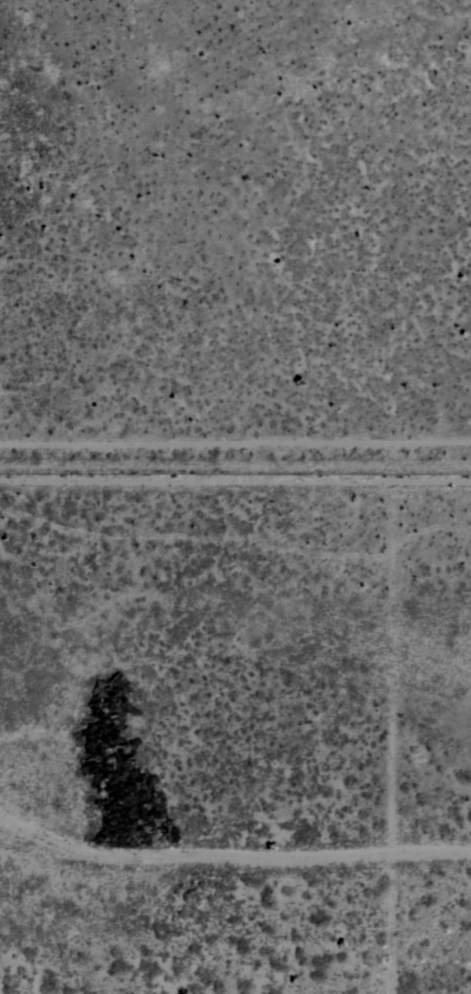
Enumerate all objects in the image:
road: (235, 446)

